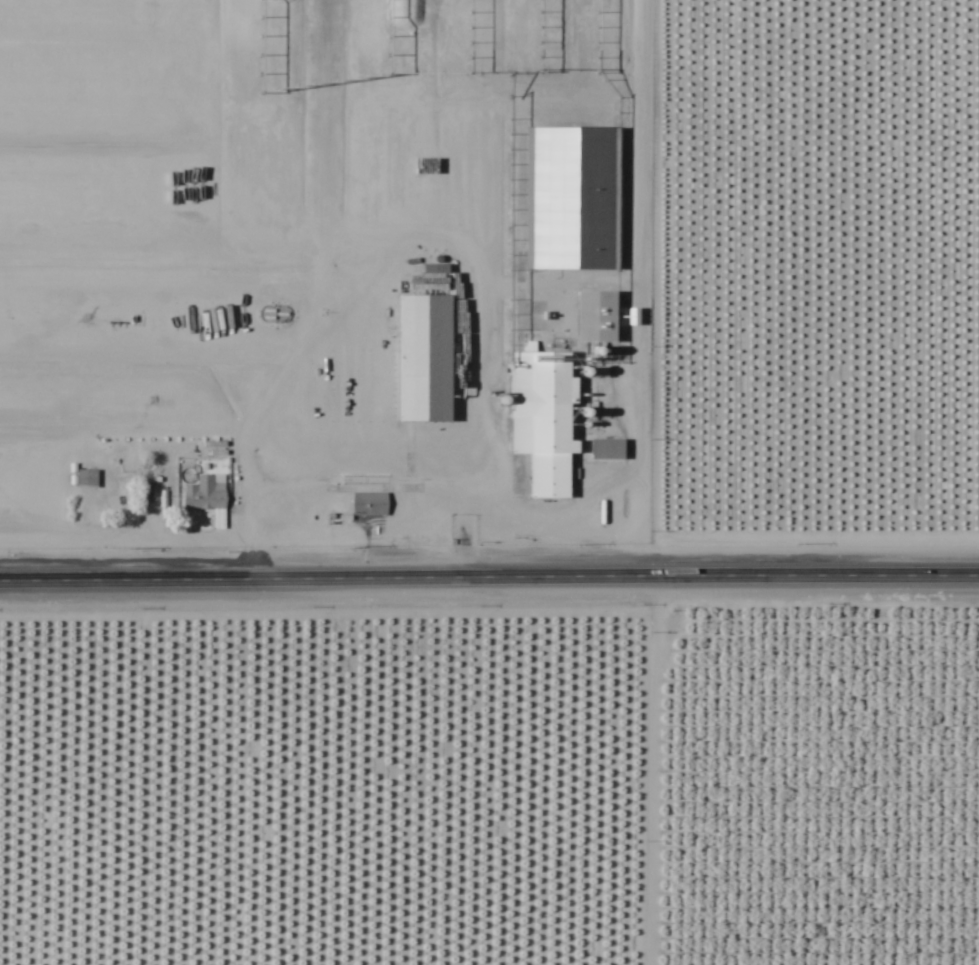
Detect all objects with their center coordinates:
building: (575, 199)
building: (598, 317)
building: (257, 326)
building: (424, 359)
building: (541, 419)
building: (607, 450)
building: (86, 479)
road: (644, 482)
building: (110, 490)
building: (206, 497)
building: (369, 505)
road: (489, 574)
crop: (489, 784)

